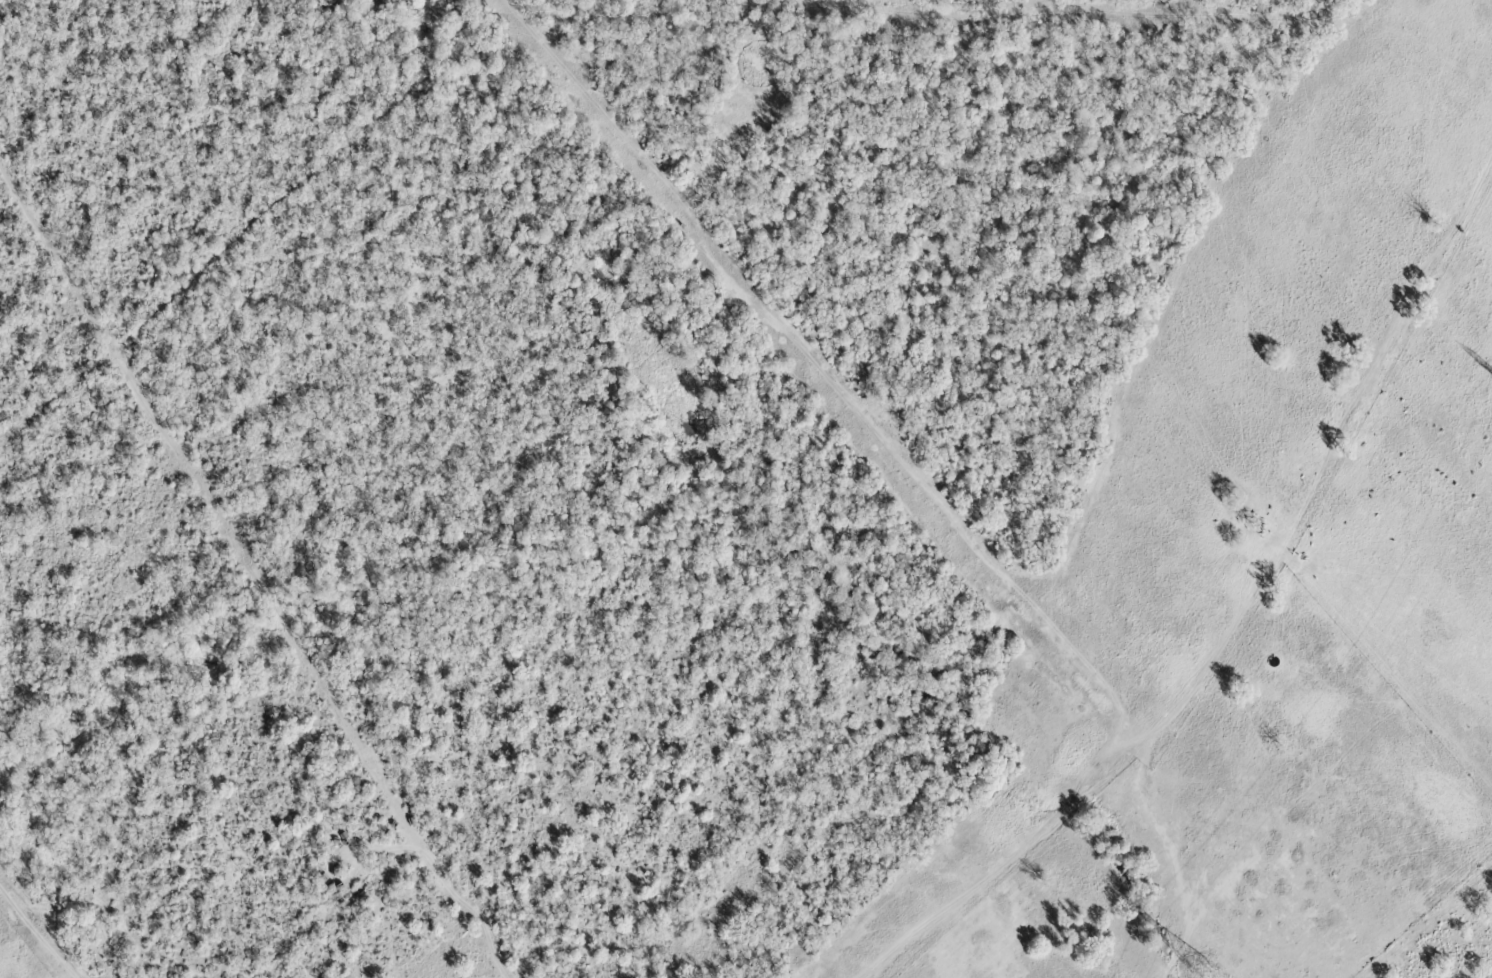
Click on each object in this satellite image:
power tower: (1203, 968)

